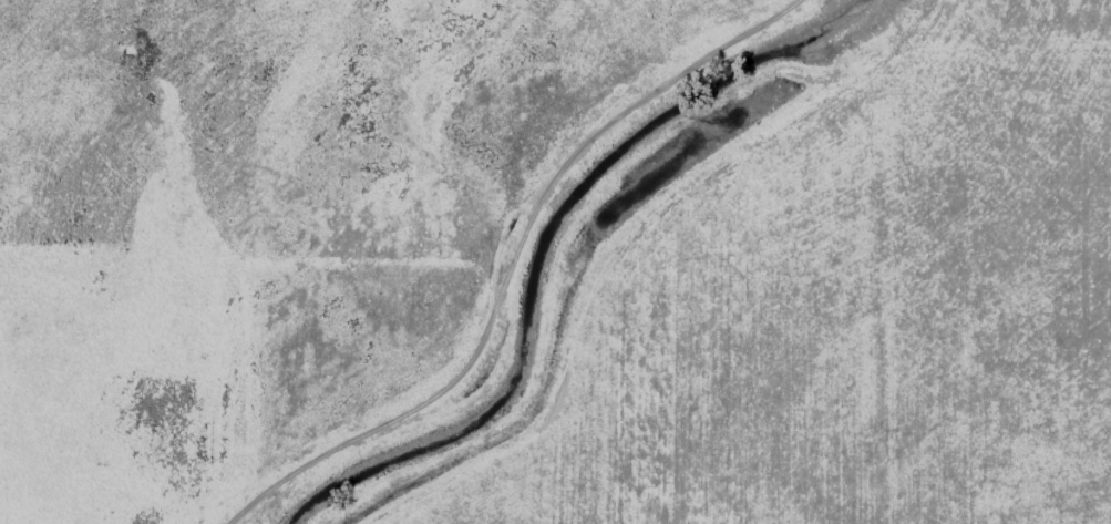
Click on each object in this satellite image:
river: (559, 246)

